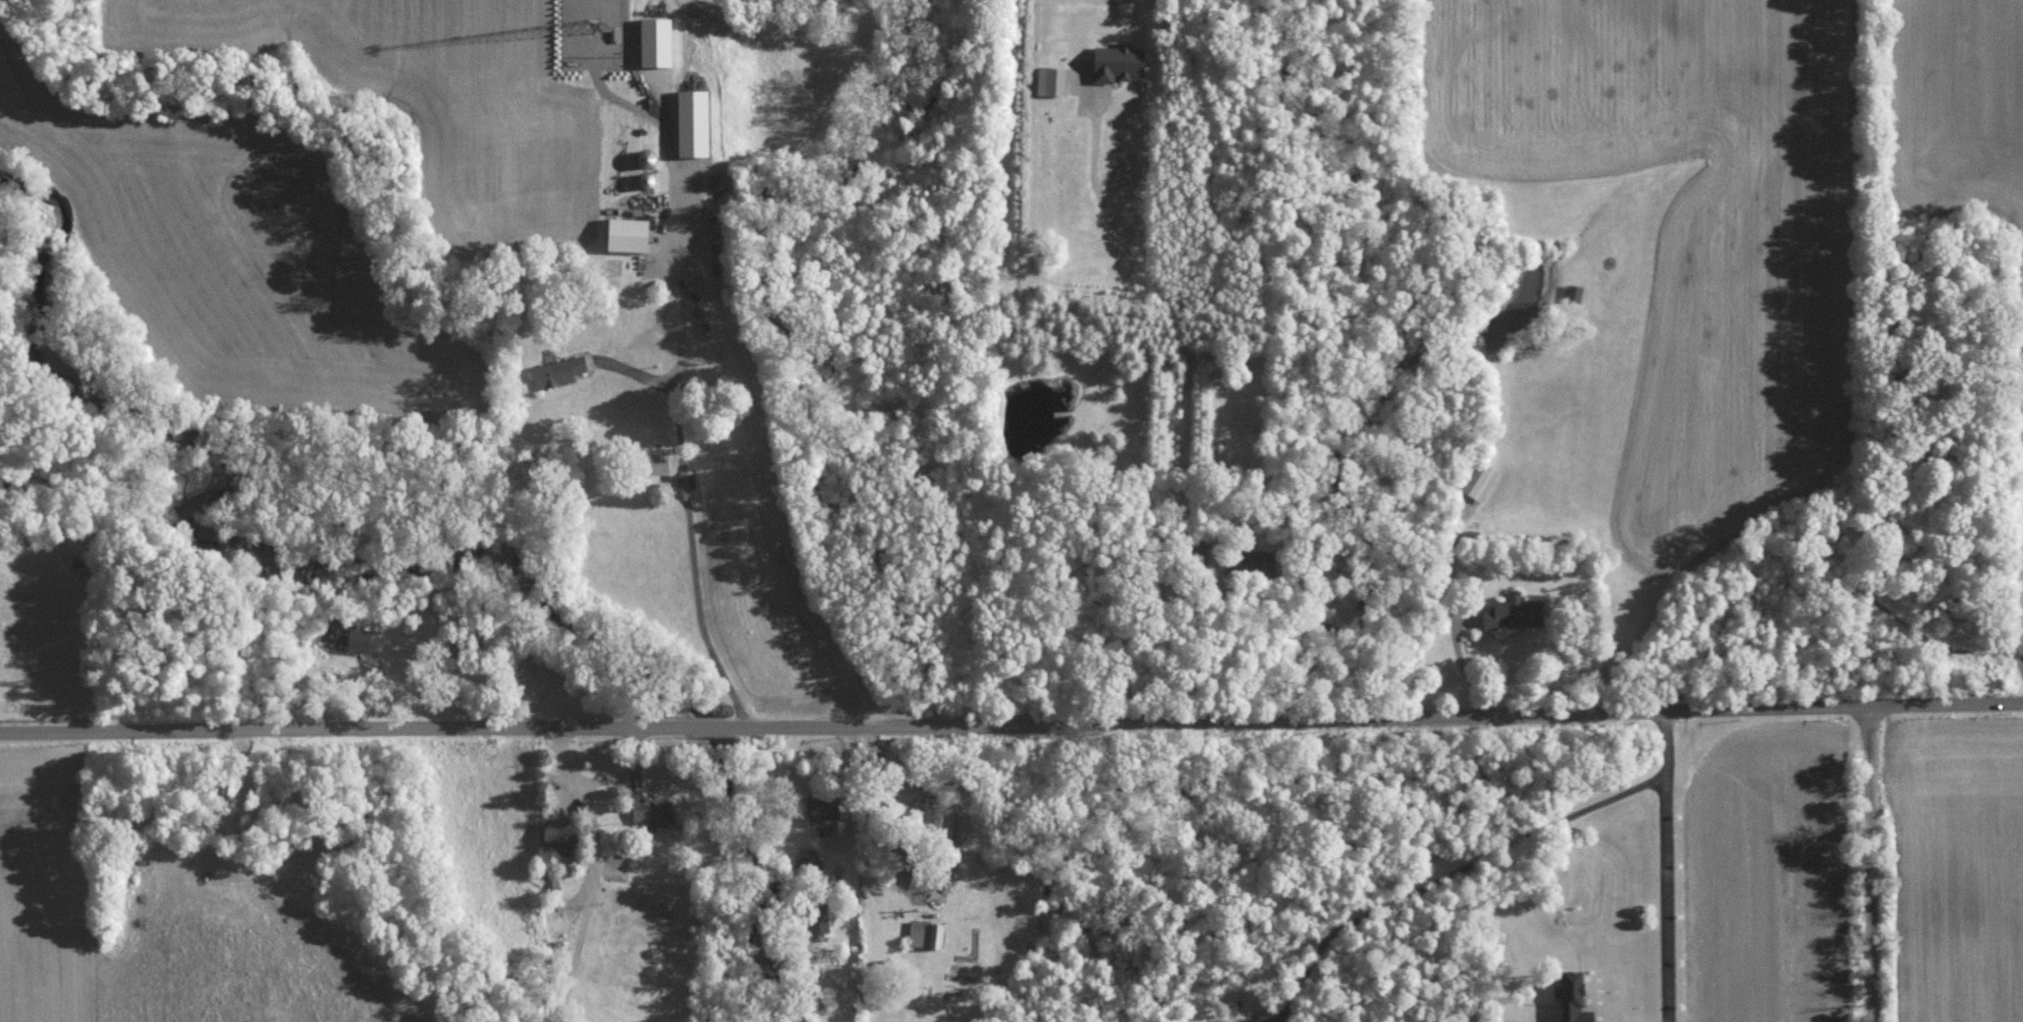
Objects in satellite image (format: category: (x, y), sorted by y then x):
building: (655, 41)
building: (1117, 62)
building: (1053, 79)
building: (693, 122)
building: (647, 157)
building: (628, 233)
building: (1574, 292)
road: (1187, 355)
building: (558, 371)
road: (761, 466)
building: (1480, 479)
road: (691, 522)
building: (1205, 551)
building: (1514, 611)
road: (1132, 617)
building: (353, 638)
road: (1460, 662)
road: (467, 672)
road: (1011, 723)
road: (599, 779)
building: (823, 806)
building: (653, 812)
building: (937, 817)
building: (561, 834)
building: (810, 861)
road: (1662, 865)
road: (1867, 865)
road: (1454, 878)
building: (818, 917)
building: (926, 933)
building: (1572, 997)

